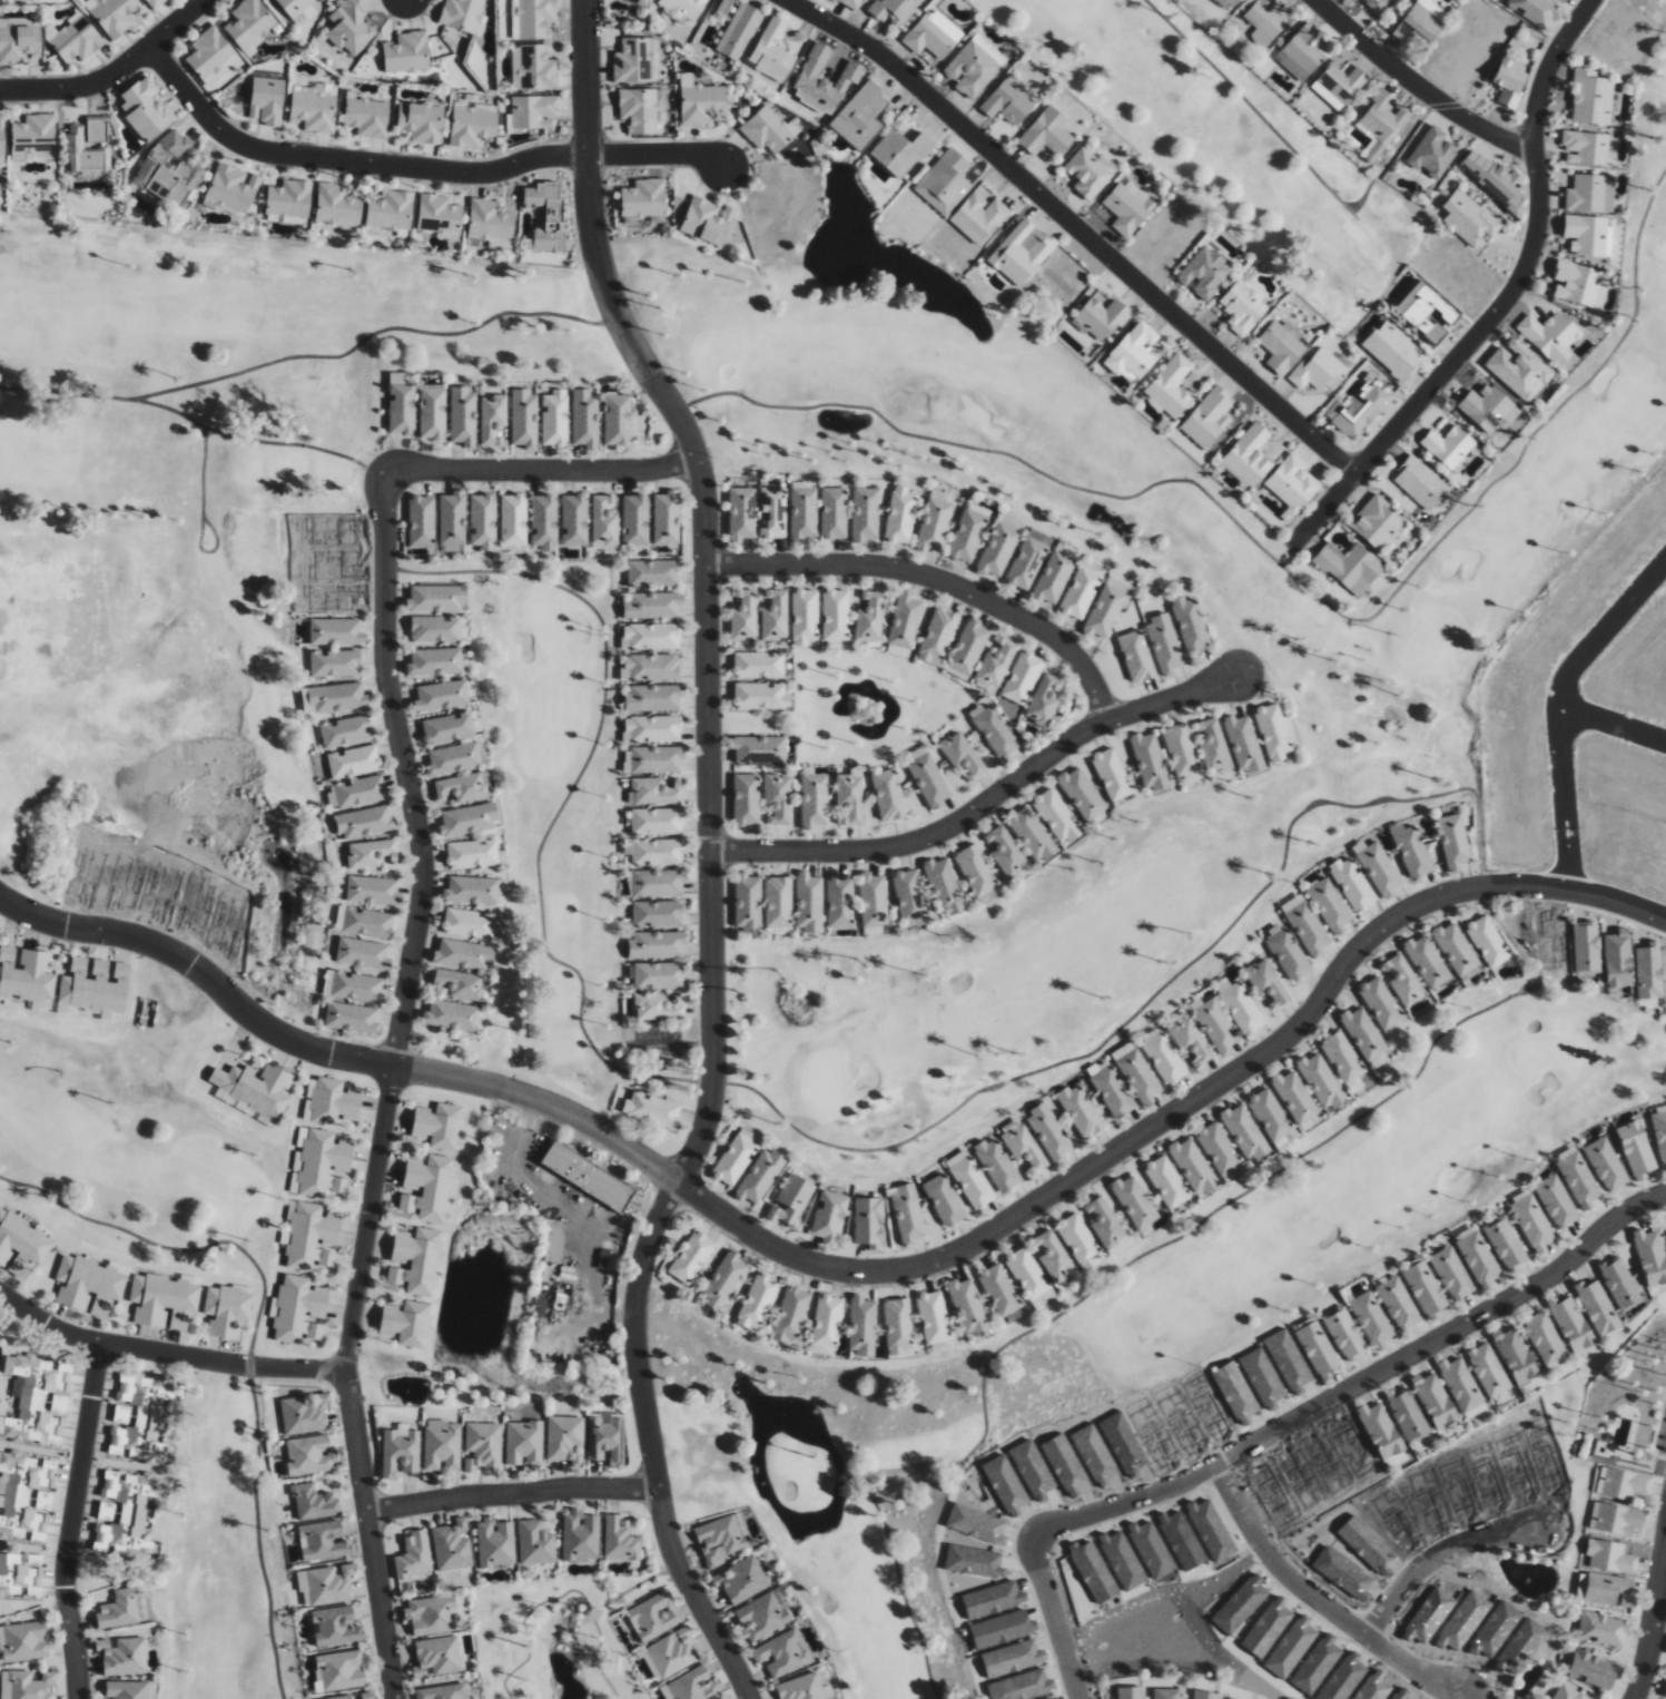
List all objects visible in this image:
building: (1360, 0)
park: (32, 2)
building: (154, 2)
building: (641, 2)
building: (850, 2)
building: (1233, 2)
building: (1377, 4)
building: (683, 7)
building: (300, 10)
building: (895, 10)
building: (1537, 10)
building: (723, 12)
building: (114, 14)
building: (463, 16)
building: (532, 18)
building: (1421, 20)
building: (1264, 21)
building: (249, 22)
building: (351, 26)
building: (739, 30)
building: (77, 38)
building: (930, 38)
building: (19, 43)
building: (772, 51)
building: (209, 52)
building: (407, 52)
building: (1301, 53)
road: (1495, 58)
building: (635, 61)
building: (538, 67)
building: (973, 67)
building: (223, 70)
road: (114, 73)
building: (824, 79)
building: (1342, 82)
building: (1510, 84)
road: (1417, 87)
building: (1591, 97)
building: (267, 98)
building: (700, 100)
building: (1008, 102)
building: (145, 108)
building: (315, 108)
building: (641, 110)
building: (533, 111)
building: (860, 116)
building: (367, 117)
building: (421, 121)
building: (1381, 124)
building: (473, 126)
building: (769, 129)
building: (97, 130)
building: (1047, 132)
building: (2, 135)
building: (34, 137)
park: (1234, 140)
building: (75, 146)
building: (1586, 147)
building: (901, 151)
building: (1433, 151)
road: (655, 156)
road: (1298, 156)
road: (586, 160)
road: (346, 161)
building: (170, 169)
building: (1090, 171)
building: (1495, 178)
building: (945, 181)
building: (233, 187)
building: (1591, 193)
building: (643, 198)
building: (288, 202)
building: (337, 204)
building: (1128, 206)
building: (391, 209)
building: (438, 214)
building: (979, 216)
building: (545, 217)
building: (1470, 217)
building: (707, 220)
building: (491, 222)
road: (1076, 228)
building: (1588, 235)
building: (1022, 252)
fountain: (855, 254)
fountain: (899, 272)
building: (1205, 273)
building: (1579, 284)
road: (1505, 302)
building: (1243, 308)
building: (1427, 311)
building: (1103, 315)
building: (1551, 335)
building: (1281, 347)
building: (1393, 350)
building: (1134, 351)
road: (313, 356)
road: (643, 365)
building: (1520, 369)
building: (1319, 371)
building: (1173, 385)
building: (1360, 406)
building: (401, 407)
building: (1488, 407)
building: (432, 411)
building: (463, 416)
building: (554, 418)
building: (584, 418)
building: (1209, 418)
building: (492, 419)
building: (524, 419)
building: (617, 420)
fountain: (842, 423)
road: (258, 442)
building: (1449, 443)
building: (1249, 455)
road: (539, 471)
building: (1292, 483)
building: (1421, 483)
building: (773, 512)
building: (804, 512)
building: (834, 512)
building: (742, 513)
building: (866, 513)
building: (901, 514)
road: (203, 518)
building: (452, 518)
building: (667, 518)
building: (512, 519)
building: (635, 519)
building: (574, 520)
building: (421, 521)
building: (482, 521)
building: (543, 521)
building: (603, 521)
building: (936, 521)
road: (384, 522)
building: (1377, 522)
building: (968, 536)
building: (998, 550)
building: (1028, 559)
road: (1279, 564)
building: (1349, 564)
building: (652, 572)
building: (1053, 577)
road: (935, 579)
building: (1081, 592)
building: (437, 598)
building: (652, 605)
building: (1105, 611)
building: (835, 615)
building: (743, 616)
building: (775, 616)
building: (870, 616)
building: (805, 617)
building: (905, 620)
building: (1191, 623)
building: (435, 629)
building: (335, 631)
building: (652, 636)
building: (937, 636)
building: (1165, 644)
building: (968, 647)
building: (1137, 656)
building: (434, 661)
building: (996, 662)
building: (334, 664)
building: (758, 665)
building: (650, 667)
building: (1023, 677)
fountain: (867, 689)
building: (441, 696)
building: (760, 696)
building: (336, 697)
building: (653, 697)
building: (1044, 701)
road: (1558, 707)
road: (1611, 724)
building: (447, 728)
building: (653, 728)
building: (995, 730)
building: (345, 731)
building: (1273, 731)
fountain: (871, 733)
building: (1244, 744)
building: (1214, 746)
building: (759, 748)
building: (1181, 749)
building: (917, 753)
building: (963, 755)
building: (454, 758)
building: (657, 759)
building: (353, 760)
building: (1150, 760)
building: (1112, 774)
building: (929, 780)
building: (461, 787)
building: (654, 790)
building: (356, 793)
road: (570, 793)
building: (1083, 794)
building: (888, 795)
building: (850, 796)
road: (708, 798)
building: (778, 798)
building: (747, 799)
building: (814, 801)
road: (985, 805)
building: (1057, 816)
building: (467, 819)
building: (365, 822)
building: (655, 822)
fountain: (217, 823)
building: (1032, 833)
building: (1453, 842)
building: (1412, 851)
building: (657, 852)
building: (371, 853)
building: (472, 853)
building: (1007, 853)
building: (1379, 867)
park: (1179, 868)
building: (976, 871)
building: (658, 882)
building: (1352, 883)
building: (944, 886)
building: (471, 890)
building: (372, 891)
building: (502, 892)
building: (909, 895)
building: (874, 900)
building: (748, 902)
building: (778, 902)
building: (809, 902)
building: (839, 902)
building: (1330, 905)
building: (657, 913)
building: (364, 923)
building: (469, 923)
building: (1307, 925)
fountain: (292, 927)
building: (1488, 941)
building: (658, 944)
building: (1587, 947)
building: (1457, 949)
building: (1288, 952)
building: (362, 953)
building: (463, 954)
building: (1619, 959)
building: (1427, 961)
building: (1649, 971)
building: (26, 974)
building: (659, 975)
building: (1404, 980)
building: (1268, 983)
building: (459, 984)
building: (95, 985)
building: (353, 986)
road: (1156, 993)
building: (1381, 1003)
building: (660, 1006)
fountain: (792, 1006)
building: (1242, 1008)
building: (452, 1015)
building: (352, 1018)
building: (1215, 1024)
building: (1367, 1038)
building: (1191, 1040)
building: (1342, 1058)
building: (1165, 1059)
building: (1137, 1073)
building: (1322, 1081)
building: (255, 1088)
building: (1113, 1092)
building: (1295, 1097)
building: (331, 1101)
building: (651, 1109)
building: (1081, 1112)
building: (1272, 1117)
building: (440, 1126)
road: (523, 1131)
building: (1049, 1132)
building: (1244, 1132)
building: (1660, 1132)
road: (383, 1133)
building: (1025, 1149)
building: (1219, 1149)
building: (1637, 1150)
building: (735, 1159)
building: (321, 1162)
building: (997, 1165)
building: (1606, 1165)
building: (1194, 1167)
building: (760, 1176)
building: (585, 1177)
building: (1579, 1180)
building: (1166, 1181)
building: (973, 1184)
building: (428, 1187)
building: (791, 1200)
building: (944, 1200)
building: (1557, 1201)
building: (1136, 1205)
building: (907, 1214)
building: (829, 1217)
building: (1531, 1220)
building: (869, 1222)
building: (1105, 1224)
building: (309, 1236)
building: (550, 1240)
building: (1080, 1241)
building: (21, 1244)
building: (1507, 1245)
road: (590, 1247)
road: (177, 1249)
building: (1053, 1256)
building: (691, 1257)
building: (1652, 1257)
building: (1478, 1258)
building: (416, 1260)
road: (1123, 1266)
road: (850, 1273)
building: (1452, 1274)
building: (1029, 1277)
building: (724, 1280)
building: (90, 1284)
building: (1620, 1284)
building: (1426, 1289)
building: (999, 1290)
building: (162, 1300)
building: (757, 1304)
building: (1399, 1304)
building: (968, 1306)
building: (1597, 1307)
building: (298, 1309)
building: (226, 1310)
road: (609, 1314)
building: (791, 1315)
building: (933, 1317)
building: (1371, 1318)
building: (827, 1322)
building: (406, 1323)
building: (1571, 1324)
building: (898, 1326)
building: (862, 1327)
building: (1344, 1334)
building: (1545, 1338)
building: (1319, 1351)
park: (1, 1353)
road: (166, 1353)
building: (1516, 1356)
building: (1289, 1359)
fountain: (698, 1371)
building: (1488, 1371)
building: (1263, 1376)
fountain: (529, 1383)
road: (1358, 1384)
building: (1461, 1385)
fountain: (406, 1391)
building: (38, 1398)
building: (1435, 1401)
building: (305, 1414)
building: (1408, 1415)
fountain: (776, 1416)
building: (142, 1417)
building: (1381, 1431)
building: (609, 1438)
building: (565, 1440)
building: (524, 1444)
building: (483, 1445)
building: (443, 1446)
road: (651, 1446)
building: (400, 1452)
building: (310, 1455)
road: (855, 1477)
road: (841, 1479)
building: (1625, 1484)
road: (512, 1494)
building: (24, 1495)
building: (314, 1502)
building: (106, 1511)
building: (1616, 1520)
road: (71, 1521)
road: (258, 1533)
building: (580, 1535)
building: (721, 1538)
building: (620, 1540)
building: (323, 1541)
building: (495, 1542)
building: (535, 1542)
building: (452, 1544)
road: (1440, 1554)
building: (414, 1556)
building: (1610, 1556)
building: (20, 1575)
building: (741, 1579)
fountain: (1527, 1582)
building: (327, 1584)
road: (633, 1588)
building: (1610, 1590)
road: (561, 1595)
road: (1321, 1603)
building: (122, 1609)
fountain: (572, 1609)
building: (431, 1614)
building: (653, 1615)
building: (763, 1615)
road: (1054, 1618)
road: (1653, 1621)
building: (336, 1627)
building: (1604, 1629)
building: (24, 1641)
building: (672, 1652)
building: (782, 1652)
building: (124, 1656)
building: (437, 1657)
building: (1594, 1669)
building: (339, 1671)
building: (27, 1685)
building: (694, 1685)
building: (801, 1688)
building: (127, 1689)
building: (442, 1691)
building: (1131, 1692)
building: (1166, 1693)
building: (1568, 1693)
building: (1665, 1693)
building: (367, 1695)
building: (1205, 1695)
building: (344, 1697)

